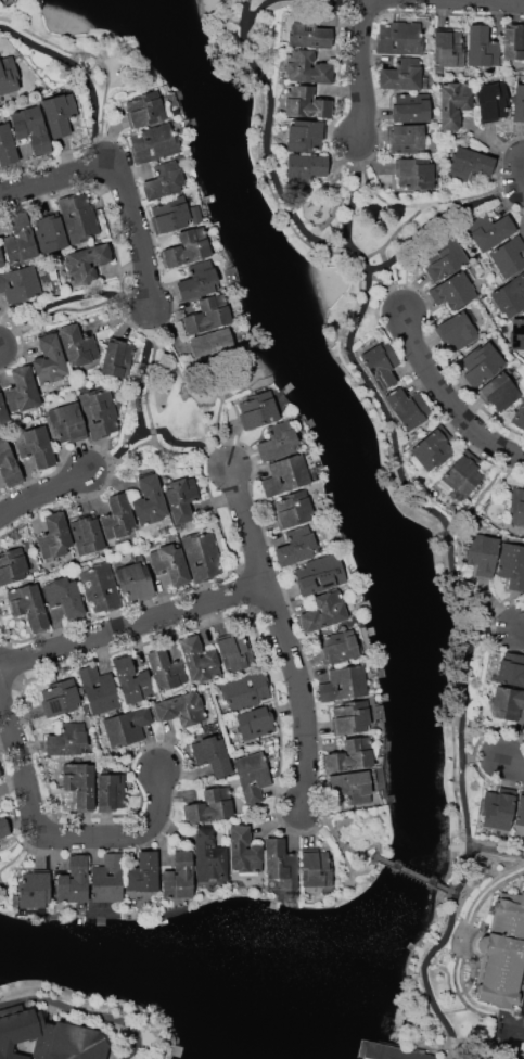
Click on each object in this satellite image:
road: (469, 4)
building: (311, 36)
building: (399, 38)
building: (513, 41)
building: (447, 47)
building: (482, 47)
building: (305, 66)
road: (84, 69)
road: (363, 69)
building: (8, 75)
building: (402, 75)
building: (491, 101)
building: (305, 102)
building: (519, 103)
building: (452, 104)
building: (411, 107)
building: (144, 109)
building: (59, 113)
building: (31, 128)
building: (305, 135)
building: (405, 139)
building: (155, 144)
building: (7, 145)
building: (470, 164)
building: (304, 169)
building: (414, 174)
road: (120, 180)
building: (162, 187)
road: (350, 203)
building: (169, 215)
building: (79, 217)
road: (410, 220)
building: (488, 230)
building: (49, 233)
building: (18, 239)
building: (187, 252)
building: (509, 256)
building: (444, 258)
building: (1, 259)
building: (87, 261)
building: (20, 284)
building: (195, 285)
building: (453, 290)
building: (509, 295)
building: (206, 319)
road: (356, 320)
building: (457, 331)
building: (516, 334)
building: (210, 342)
building: (77, 346)
building: (116, 357)
building: (48, 360)
building: (482, 362)
building: (381, 365)
road: (151, 378)
building: (22, 391)
building: (499, 392)
road: (446, 400)
building: (407, 407)
building: (98, 409)
building: (258, 411)
building: (2, 412)
building: (519, 417)
building: (66, 423)
building: (278, 441)
building: (35, 447)
road: (159, 447)
building: (435, 448)
building: (9, 467)
building: (285, 475)
building: (460, 476)
road: (43, 494)
building: (180, 498)
building: (149, 501)
building: (516, 506)
road: (473, 507)
building: (292, 509)
building: (117, 518)
building: (86, 535)
building: (54, 536)
building: (296, 546)
building: (481, 553)
building: (202, 556)
building: (170, 563)
building: (12, 565)
building: (512, 565)
building: (319, 574)
building: (135, 580)
building: (100, 587)
building: (64, 596)
building: (28, 605)
building: (323, 611)
road: (133, 627)
road: (522, 628)
road: (283, 636)
building: (336, 646)
building: (233, 651)
building: (199, 660)
building: (165, 669)
building: (511, 669)
building: (131, 680)
building: (344, 682)
building: (245, 689)
building: (99, 690)
building: (59, 698)
building: (507, 702)
building: (180, 709)
building: (349, 717)
building: (255, 722)
building: (126, 727)
building: (66, 739)
road: (462, 747)
building: (213, 754)
building: (350, 756)
road: (486, 756)
road: (517, 763)
building: (1, 770)
building: (252, 776)
building: (78, 782)
building: (352, 782)
building: (111, 791)
building: (210, 805)
building: (499, 807)
building: (1, 808)
building: (520, 809)
building: (2, 827)
road: (49, 834)
road: (338, 839)
road: (495, 846)
building: (243, 850)
building: (208, 855)
building: (280, 866)
building: (316, 868)
building: (142, 872)
building: (178, 876)
road: (420, 878)
building: (106, 879)
building: (73, 880)
building: (31, 890)
road: (456, 917)
building: (502, 954)
road: (434, 994)
road: (78, 1010)
road: (520, 1035)
building: (49, 1038)
pier: (372, 1049)
building: (387, 1051)
road: (137, 1052)

